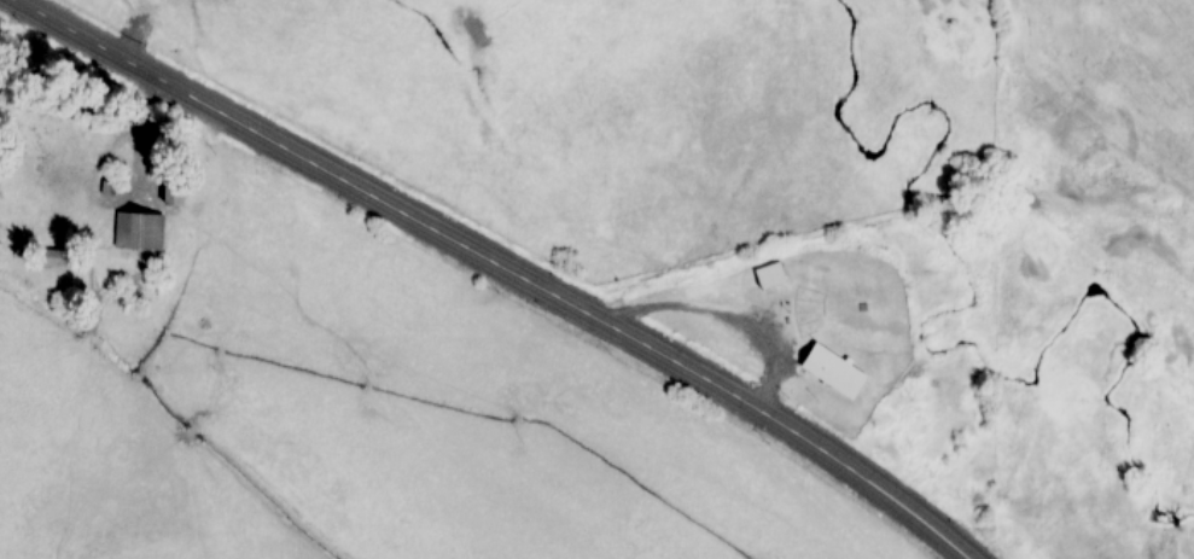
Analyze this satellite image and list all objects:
building: (173, 192)
building: (136, 232)
building: (54, 258)
road: (495, 267)
building: (768, 276)
building: (834, 374)

